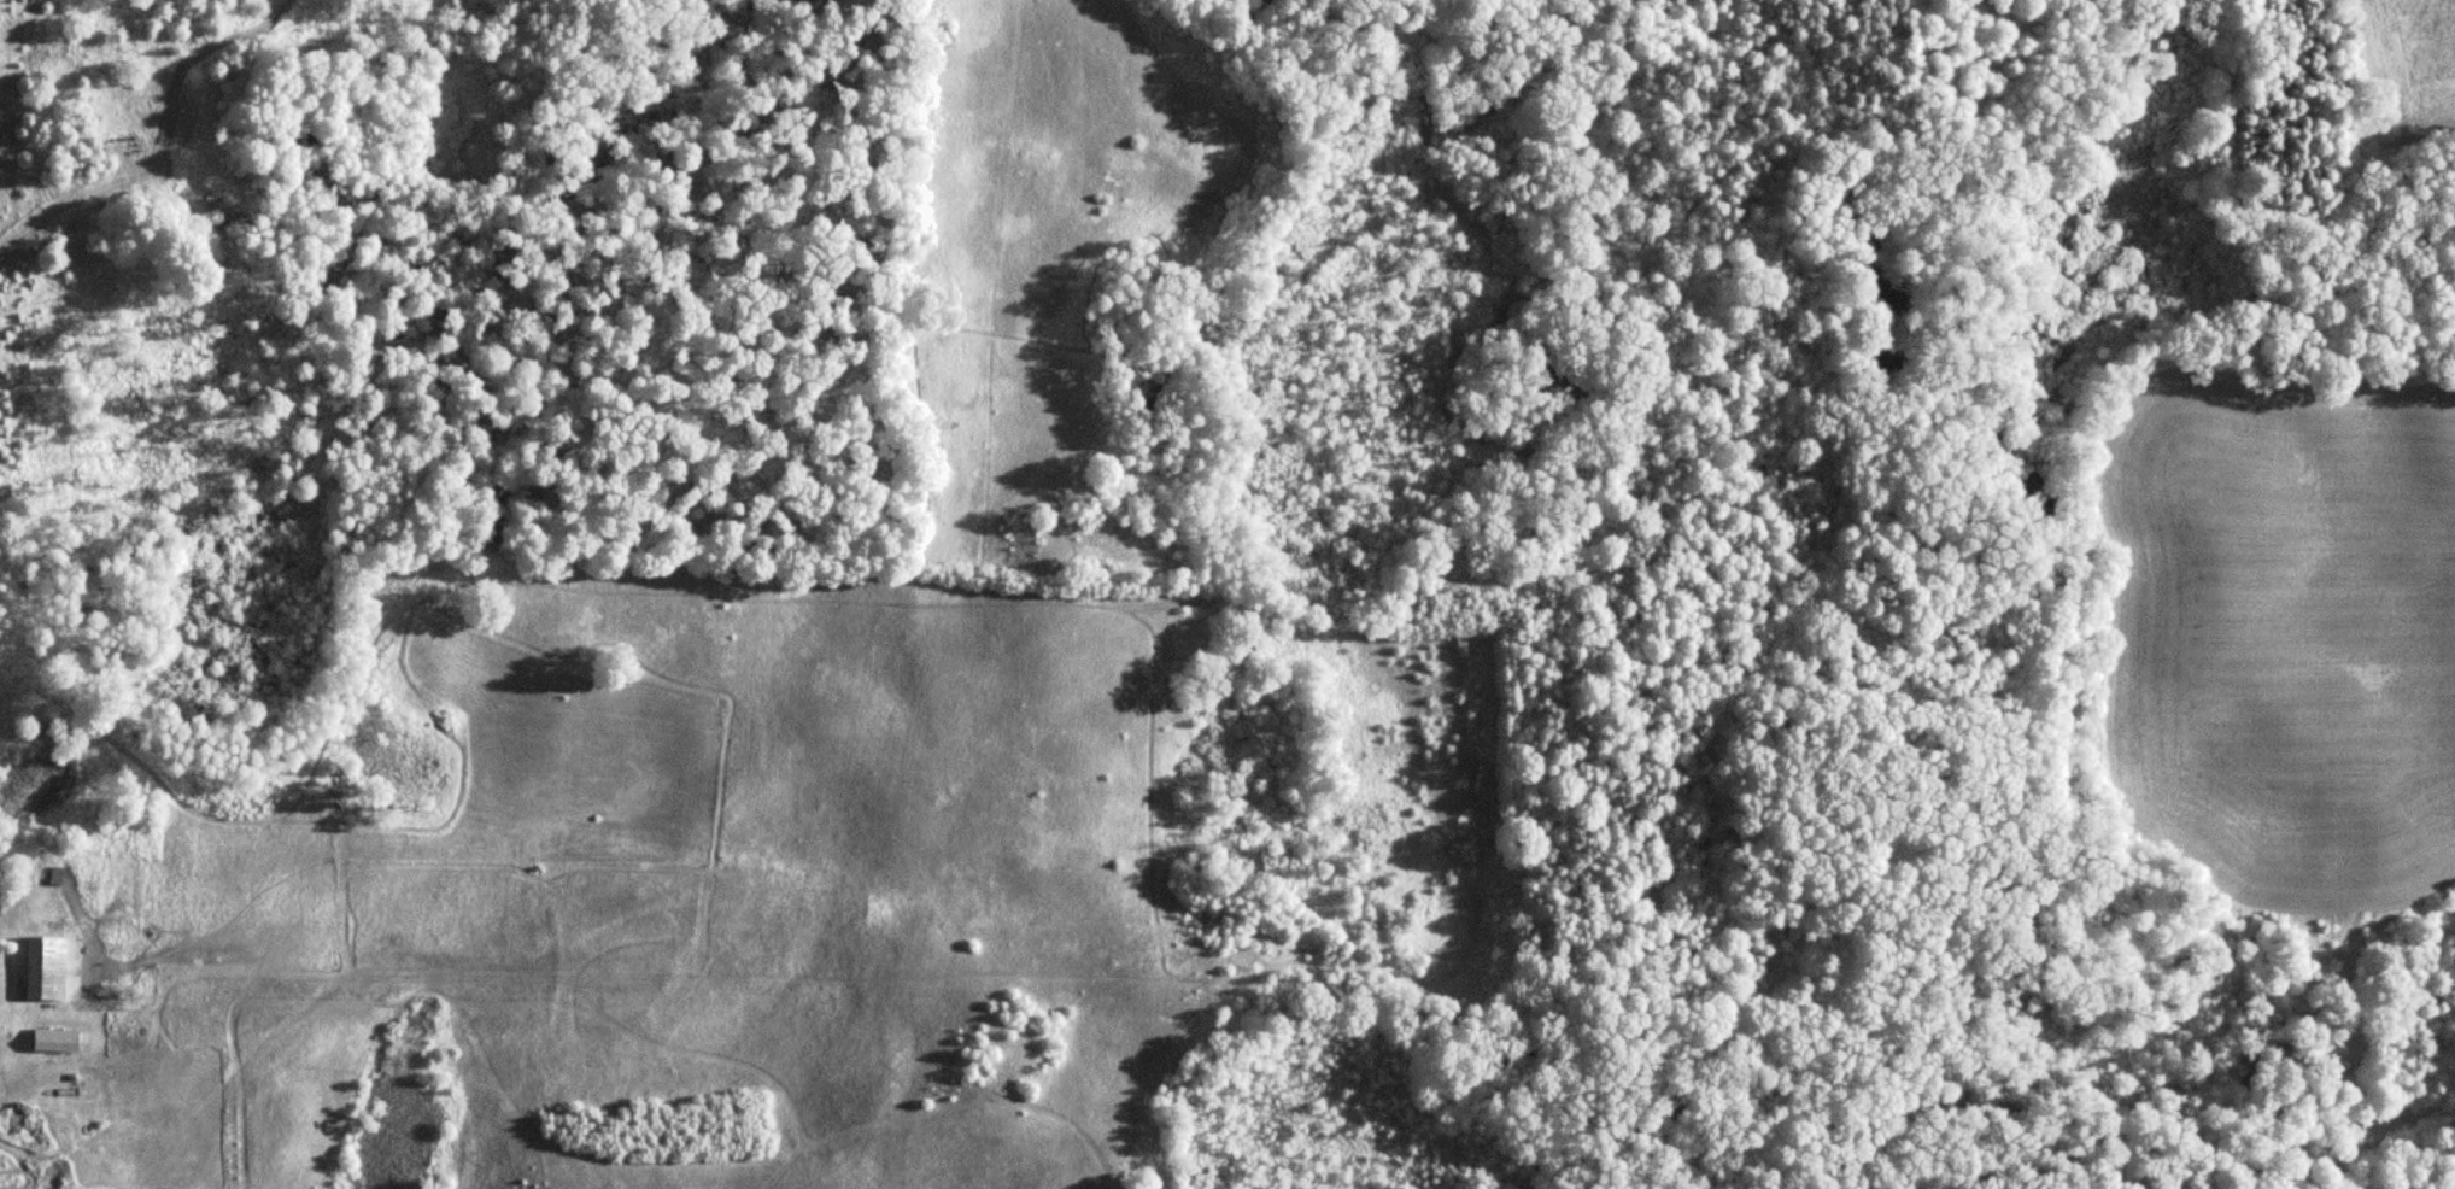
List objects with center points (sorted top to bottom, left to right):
building: (48, 967)
building: (57, 1039)

